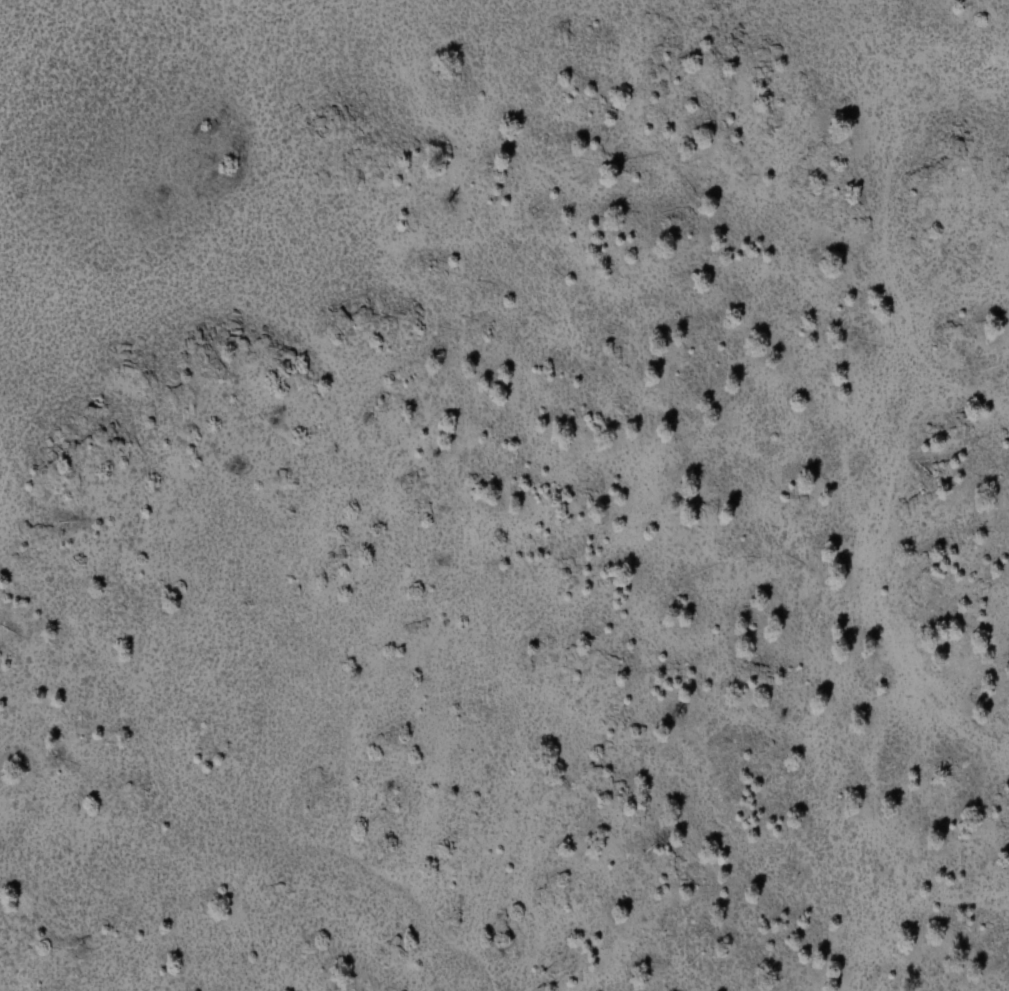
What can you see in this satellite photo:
road: (884, 604)

